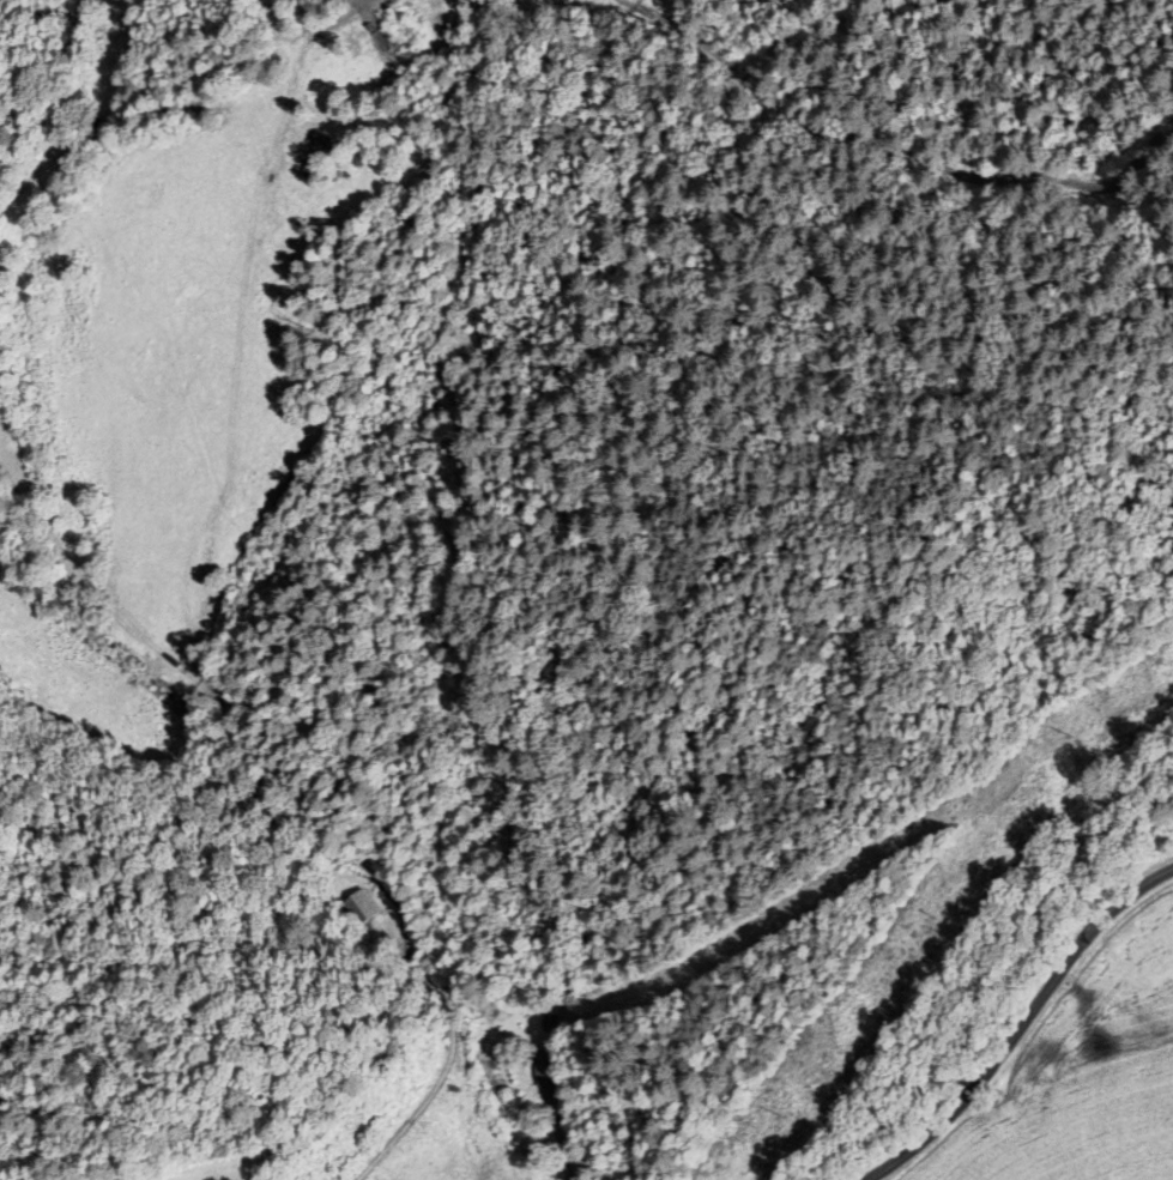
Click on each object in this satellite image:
building: (355, 908)
road: (1021, 1025)
road: (452, 1030)
building: (543, 1070)
road: (560, 1136)

